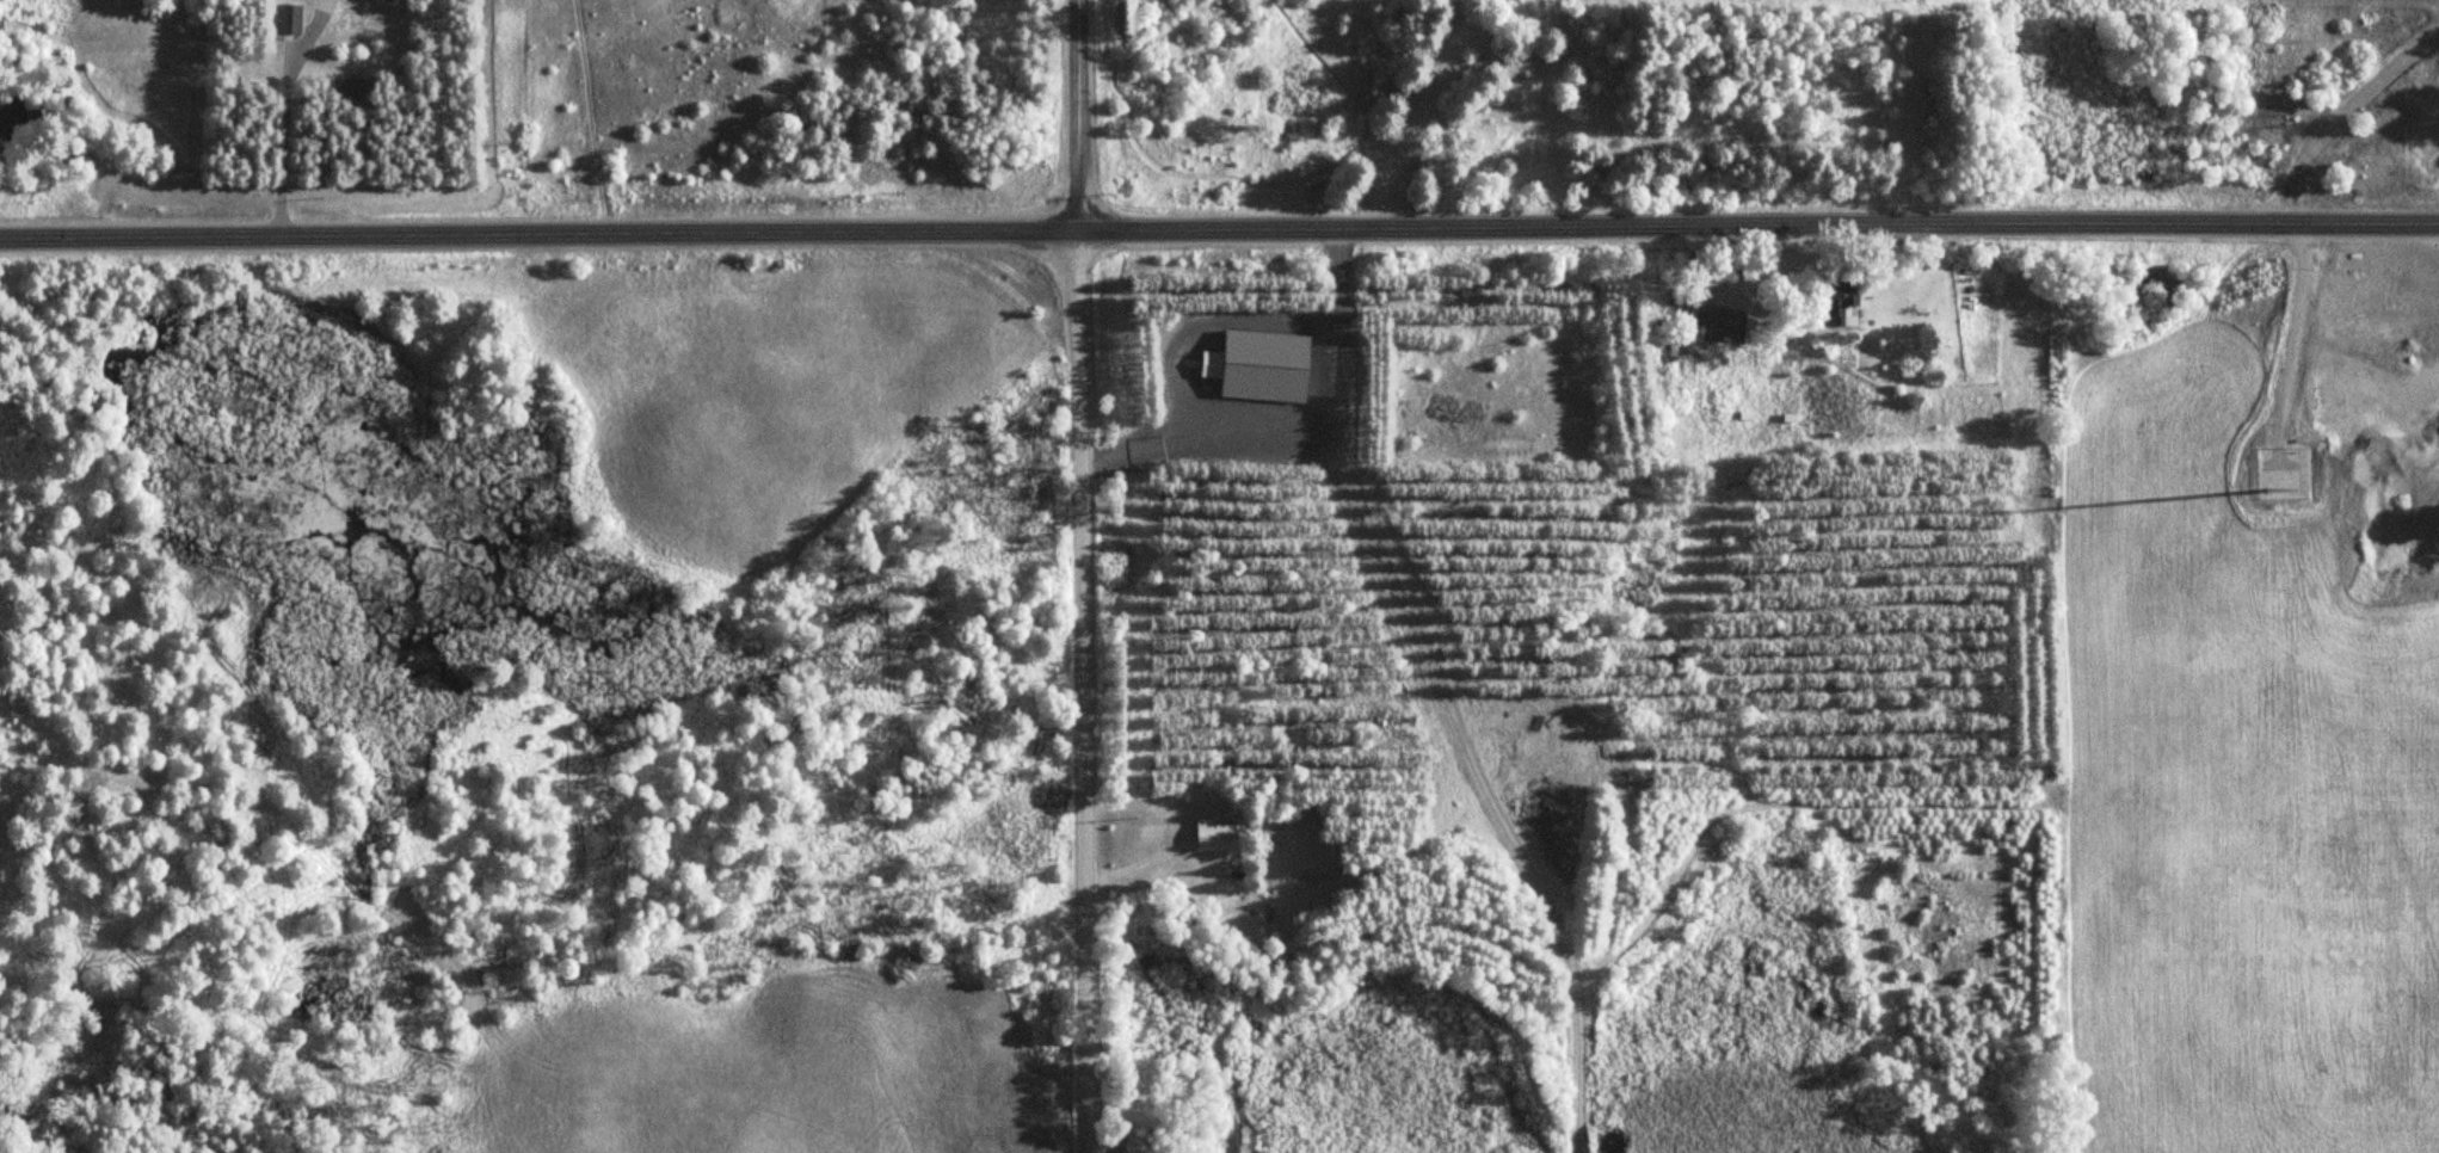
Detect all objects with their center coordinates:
building: (389, 0)
building: (291, 17)
building: (2, 26)
road: (285, 113)
road: (1078, 115)
road: (1421, 116)
road: (1219, 228)
building: (1842, 300)
building: (1725, 323)
building: (1212, 363)
road: (1080, 691)
building: (1218, 833)

